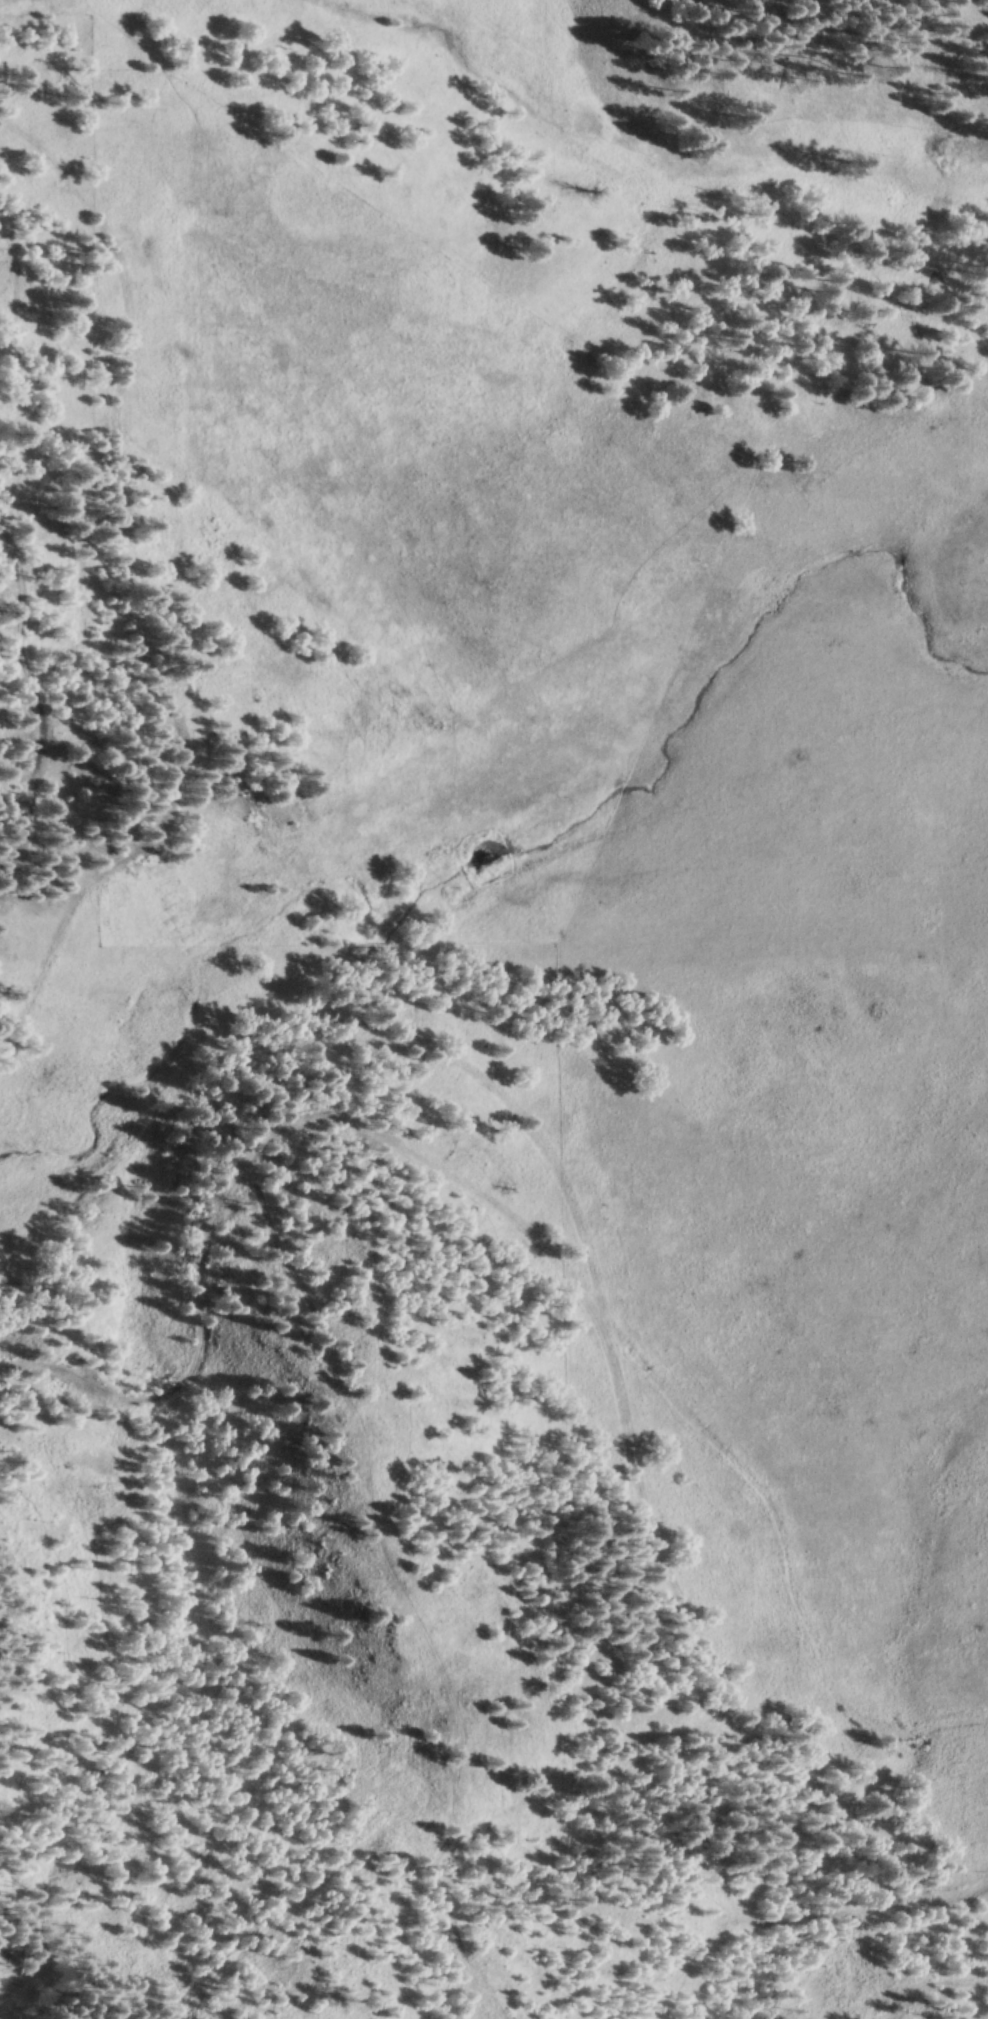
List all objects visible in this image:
road: (85, 626)
road: (42, 718)
road: (330, 1343)
road: (442, 1446)
road: (867, 1918)
road: (448, 1919)

